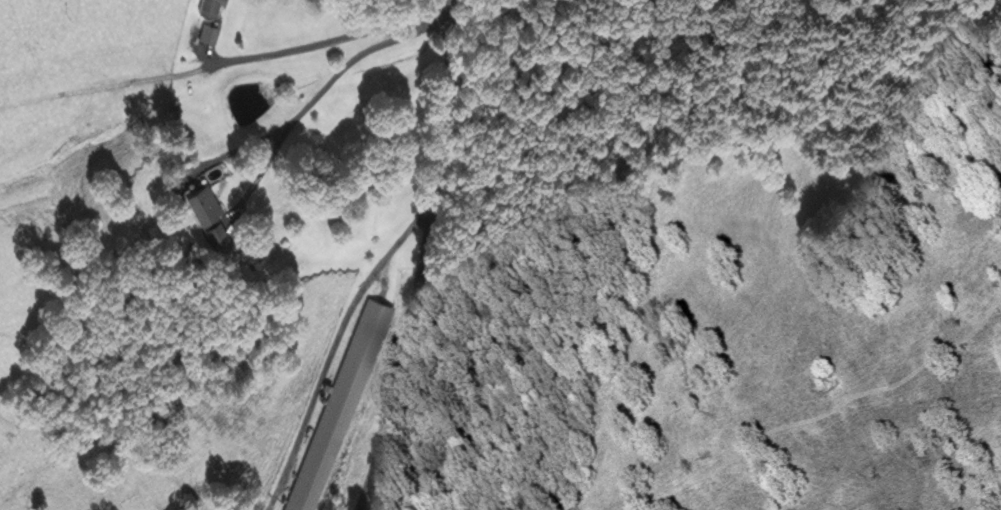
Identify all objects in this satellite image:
building: (210, 7)
road: (323, 41)
road: (112, 86)
road: (311, 104)
building: (209, 214)
road: (429, 261)
road: (336, 341)
building: (341, 405)

